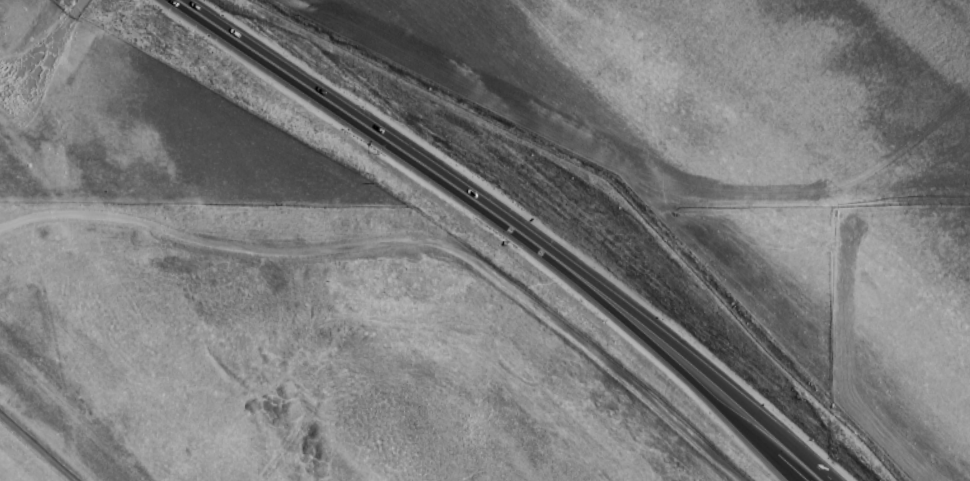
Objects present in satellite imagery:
road: (491, 210)
crop: (485, 240)
road: (799, 465)

